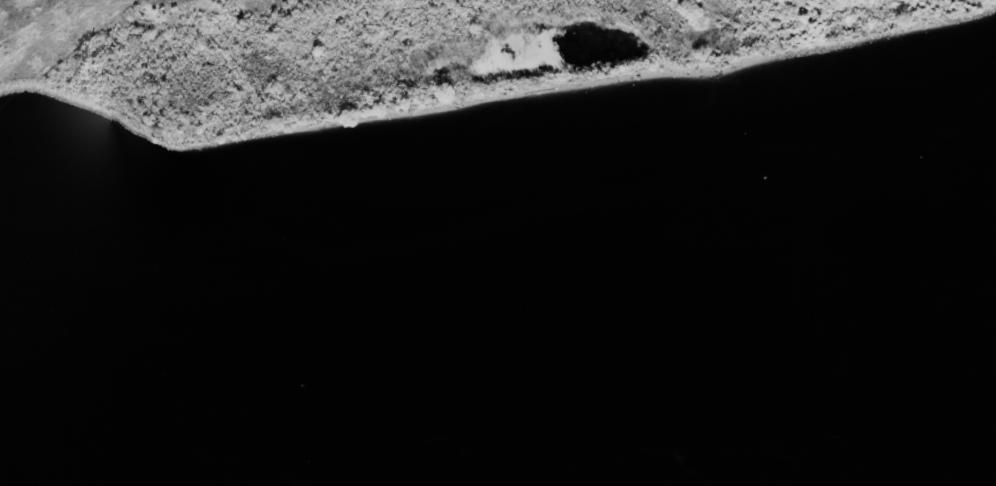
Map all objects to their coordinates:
landfill: (392, 62)

